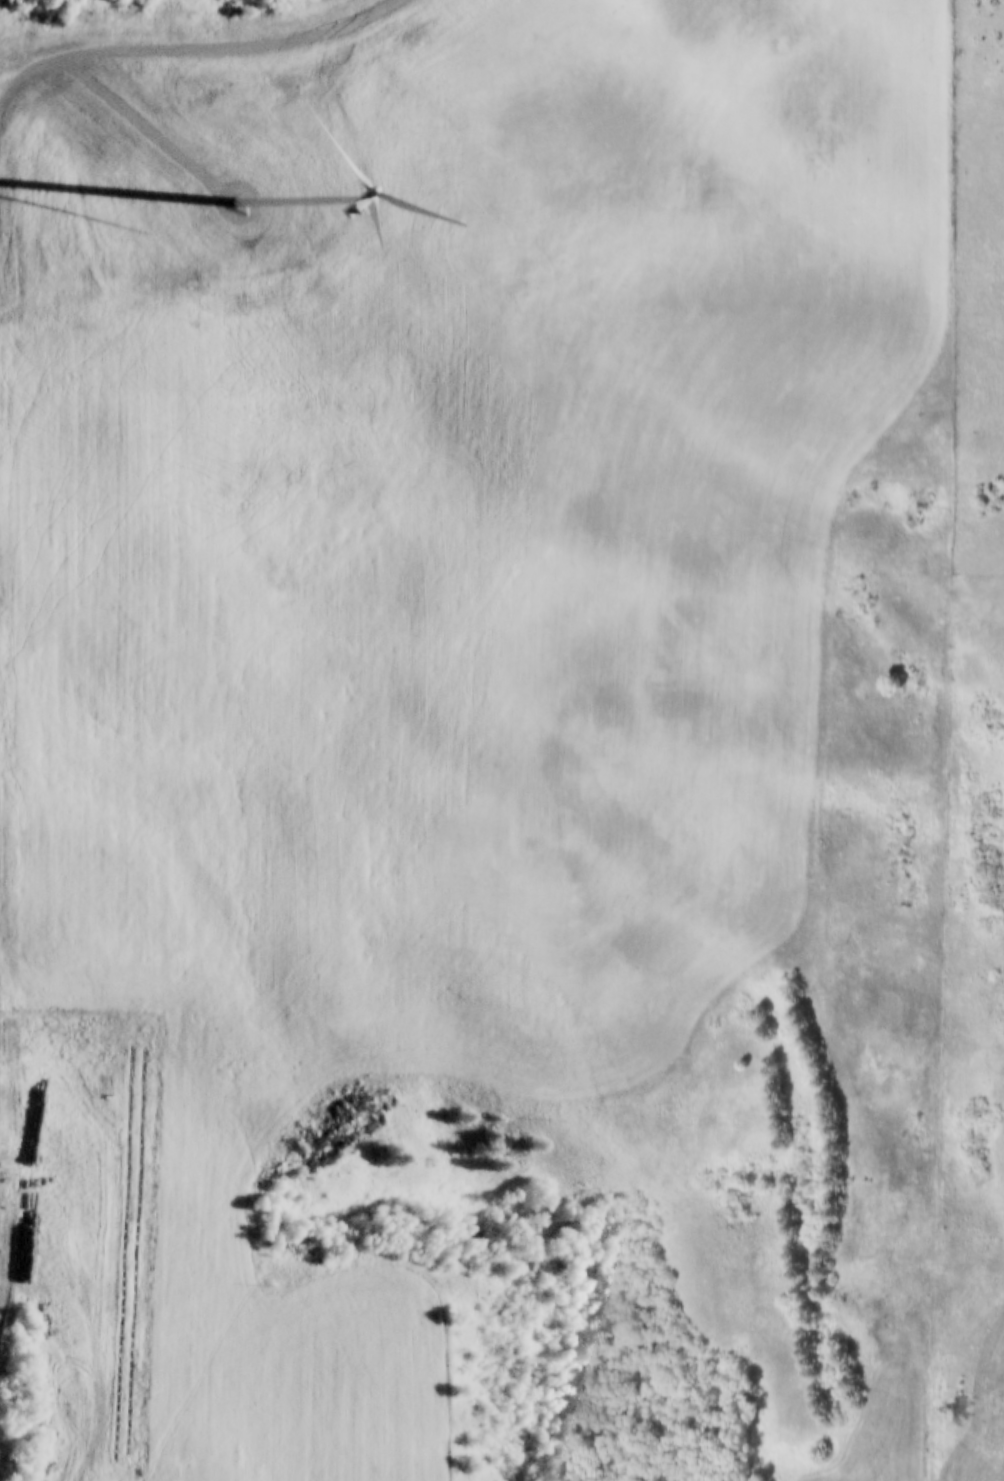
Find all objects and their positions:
wind turbine: (236, 203)

